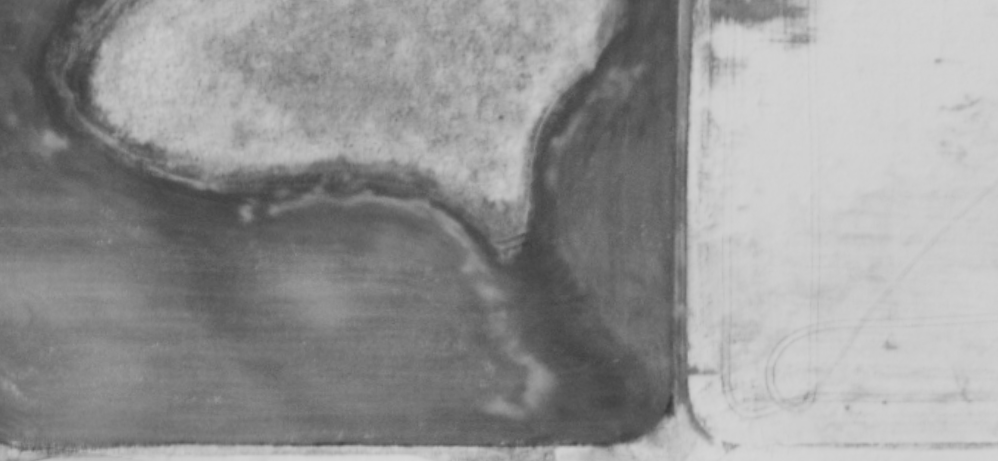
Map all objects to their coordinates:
road: (676, 230)

